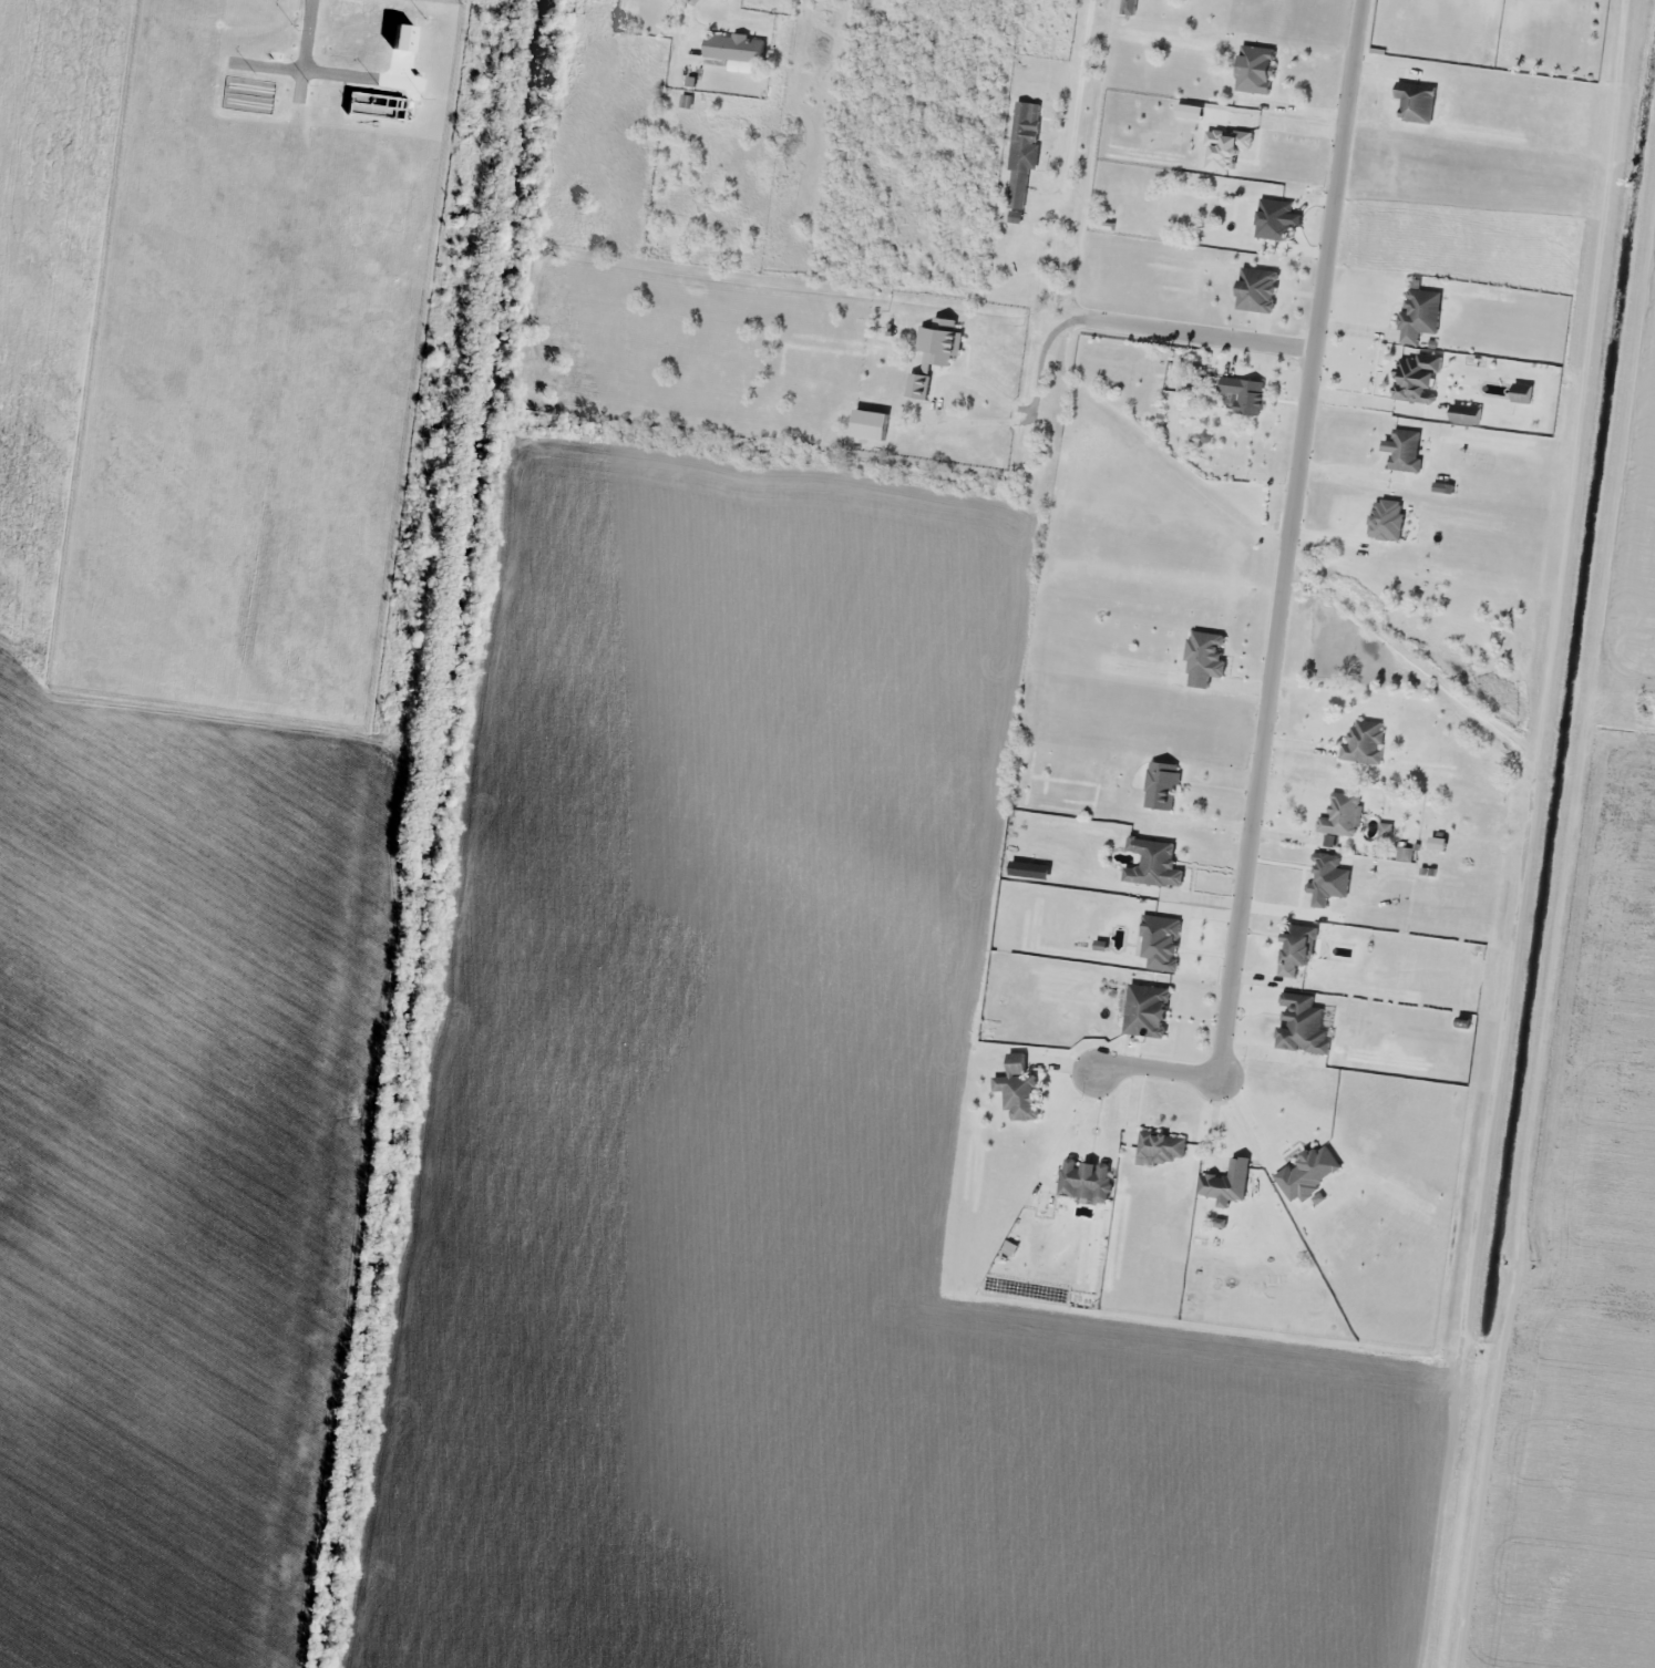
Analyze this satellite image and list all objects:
building: (734, 47)
building: (1256, 69)
road: (1079, 86)
building: (1416, 102)
building: (1024, 150)
building: (1276, 218)
building: (1257, 289)
building: (1421, 310)
road: (1201, 334)
building: (933, 354)
building: (1416, 375)
building: (1189, 383)
building: (1522, 392)
building: (1245, 394)
building: (1466, 414)
building: (1405, 450)
road: (1283, 601)
building: (1206, 651)
building: (1364, 741)
building: (1162, 784)
building: (1342, 814)
building: (1153, 862)
building: (1296, 947)
building: (1147, 1009)
building: (1302, 1023)
building: (1019, 1088)
building: (1160, 1147)
building: (1086, 1178)
building: (1226, 1182)

